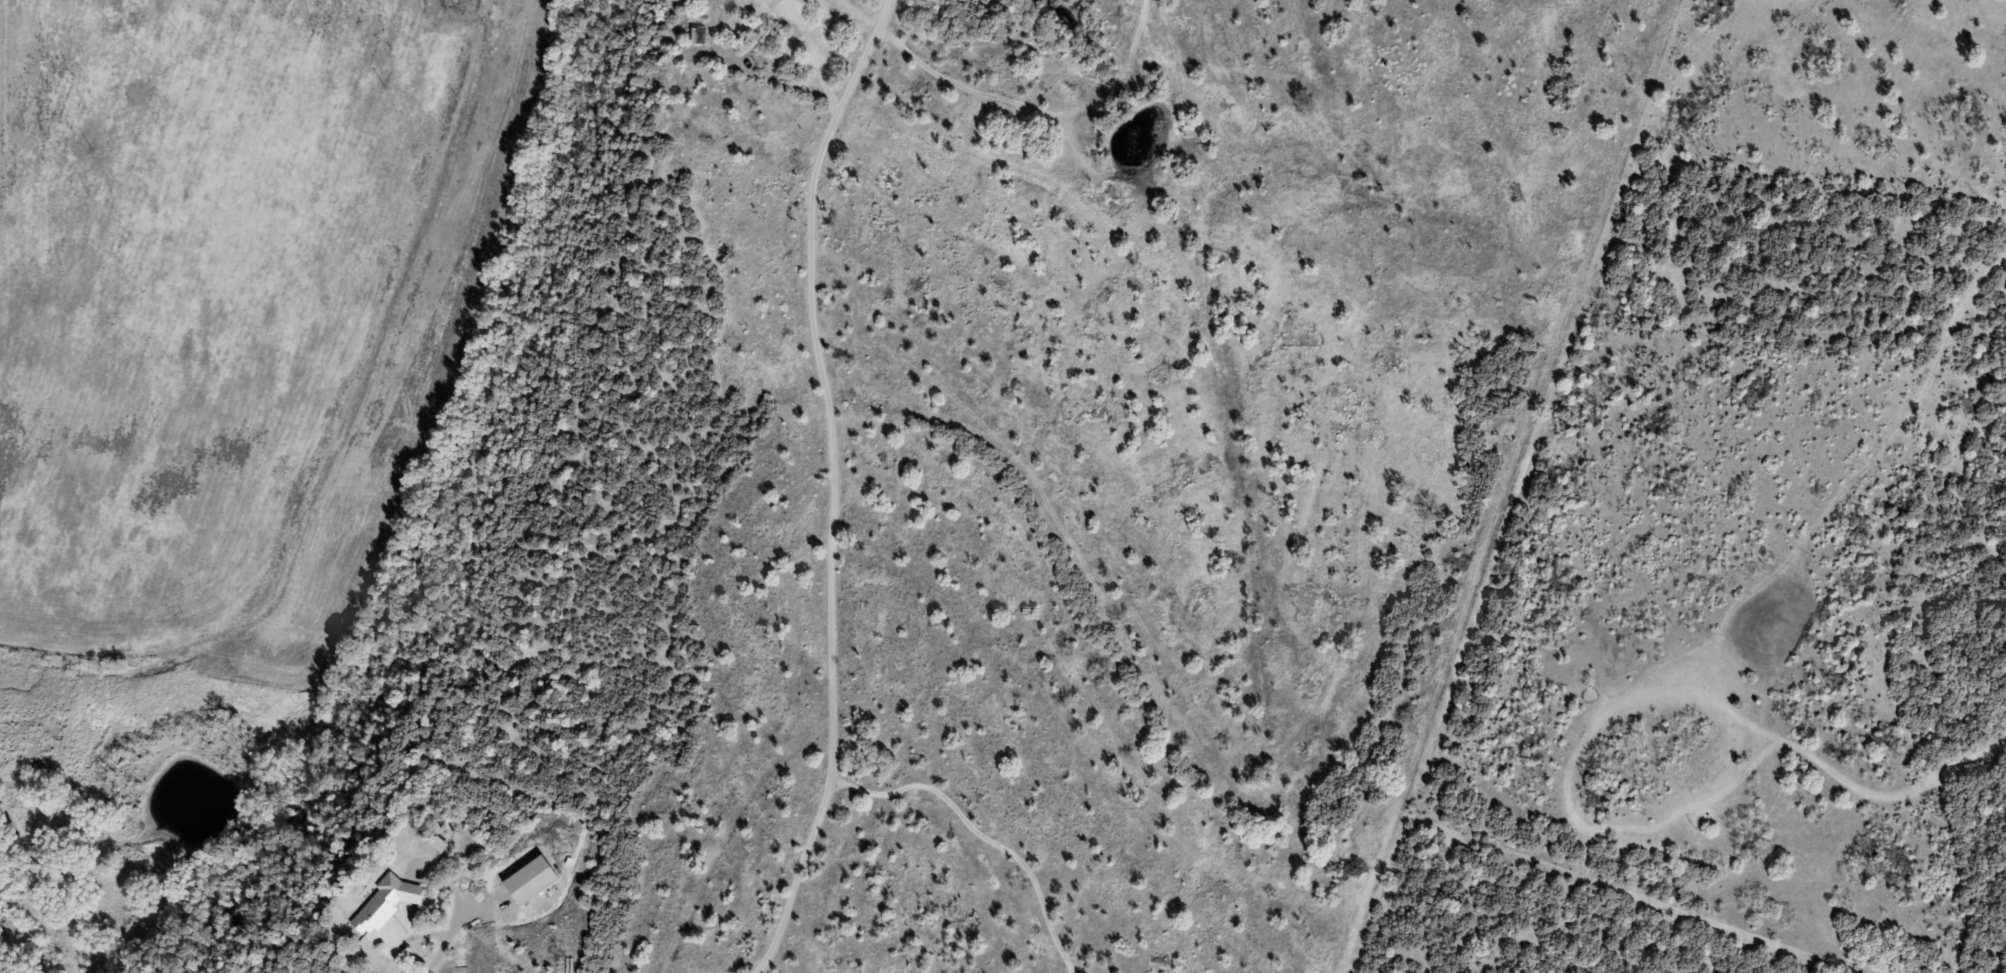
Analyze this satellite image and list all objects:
building: (384, 902)

